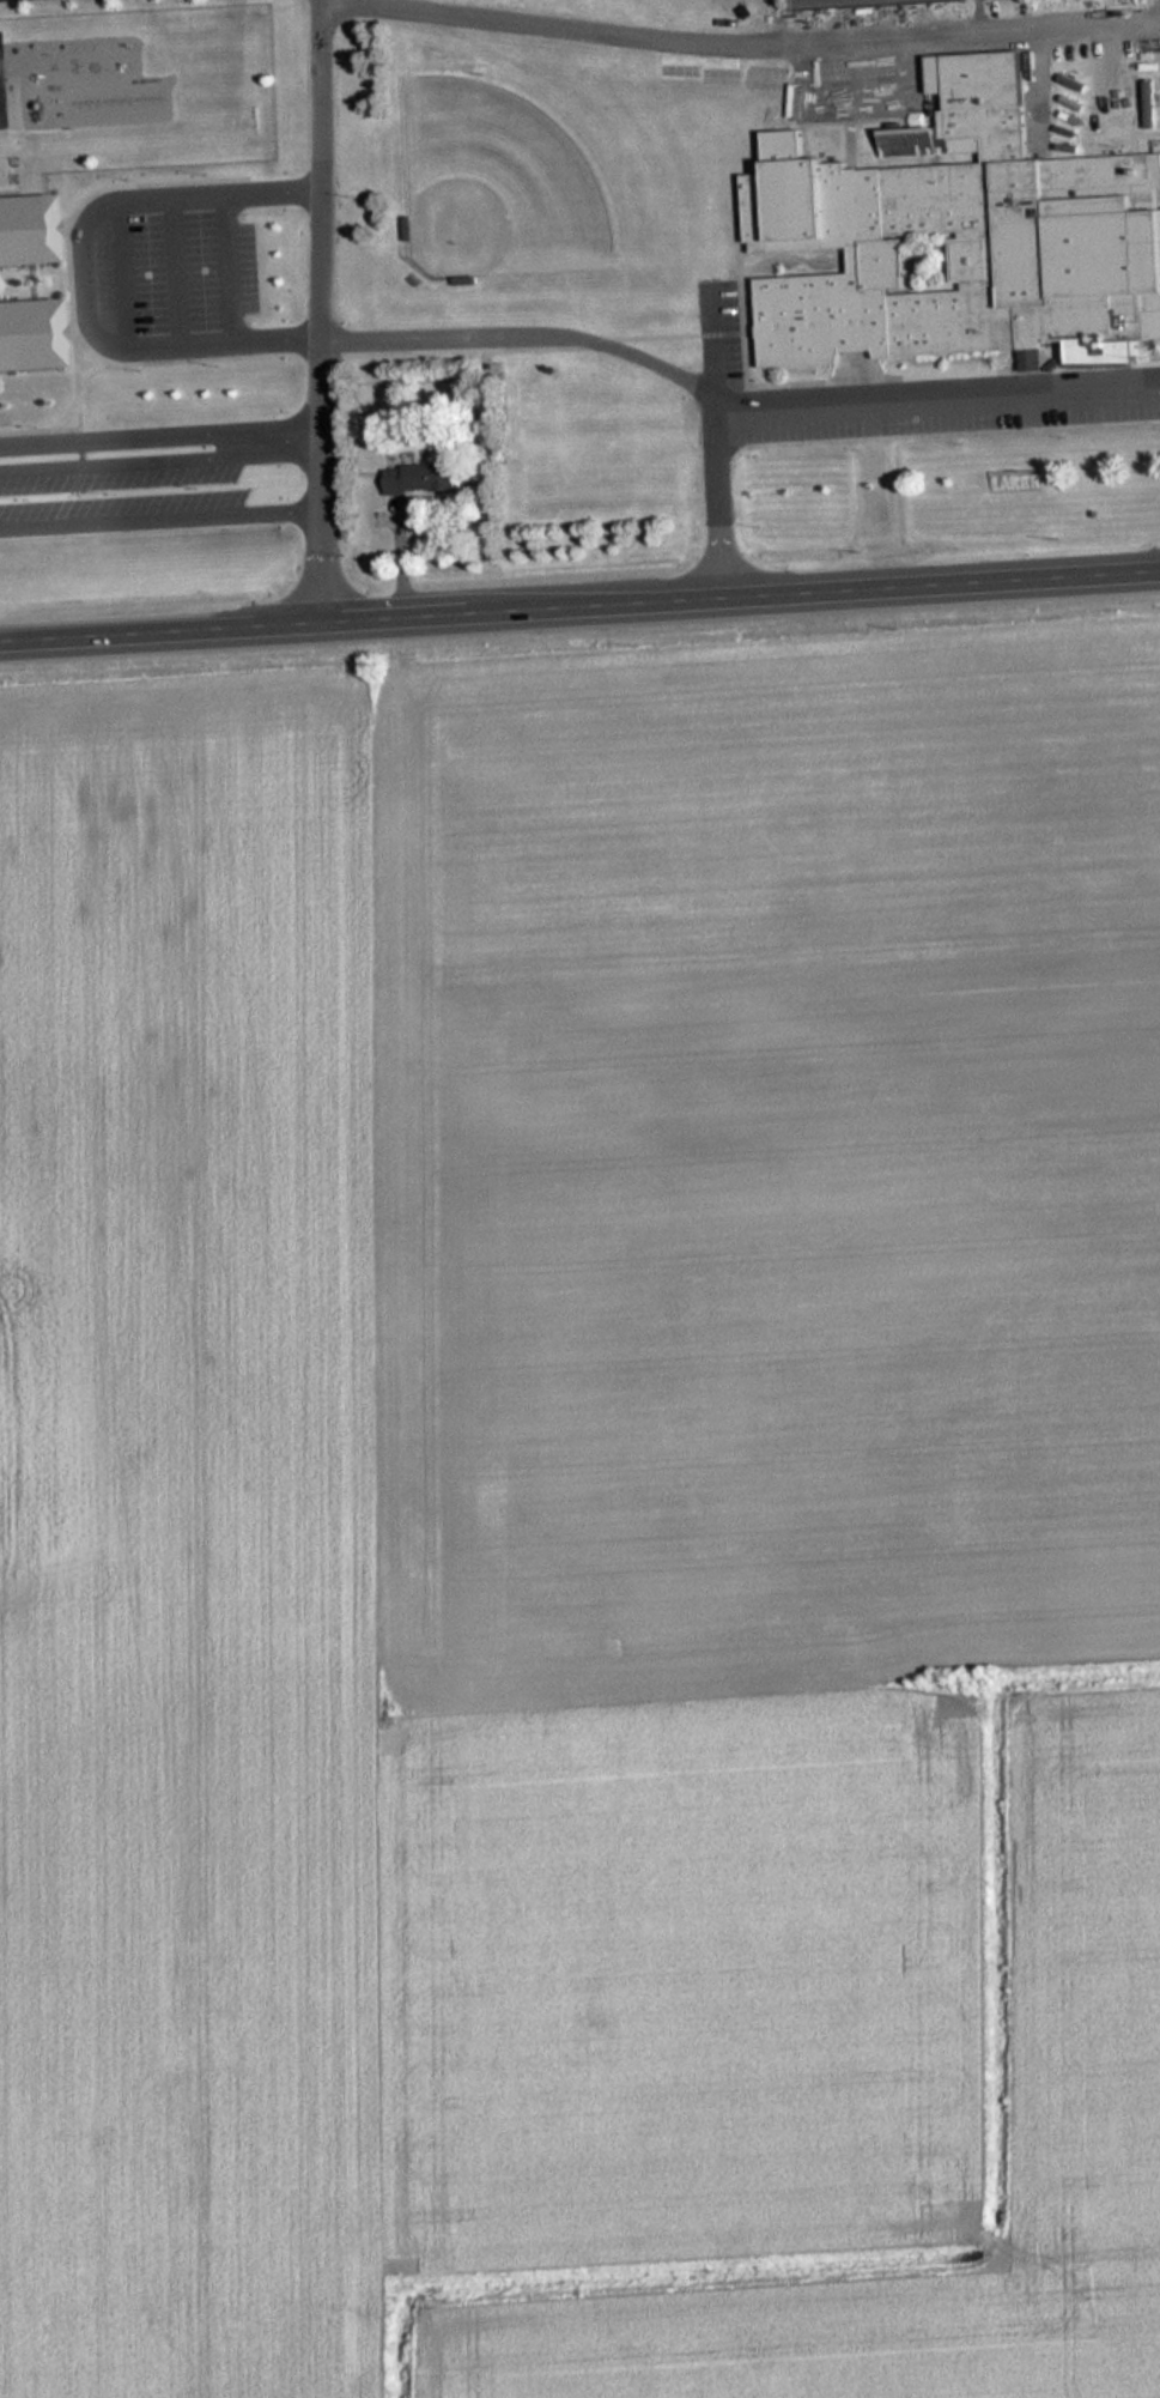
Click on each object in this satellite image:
park: (836, 2)
road: (739, 41)
park: (497, 186)
building: (408, 229)
building: (28, 230)
building: (958, 236)
road: (69, 270)
building: (466, 280)
road: (320, 310)
building: (30, 335)
road: (299, 340)
road: (176, 359)
road: (91, 370)
road: (849, 407)
road: (63, 413)
road: (160, 443)
building: (420, 479)
road: (579, 606)

